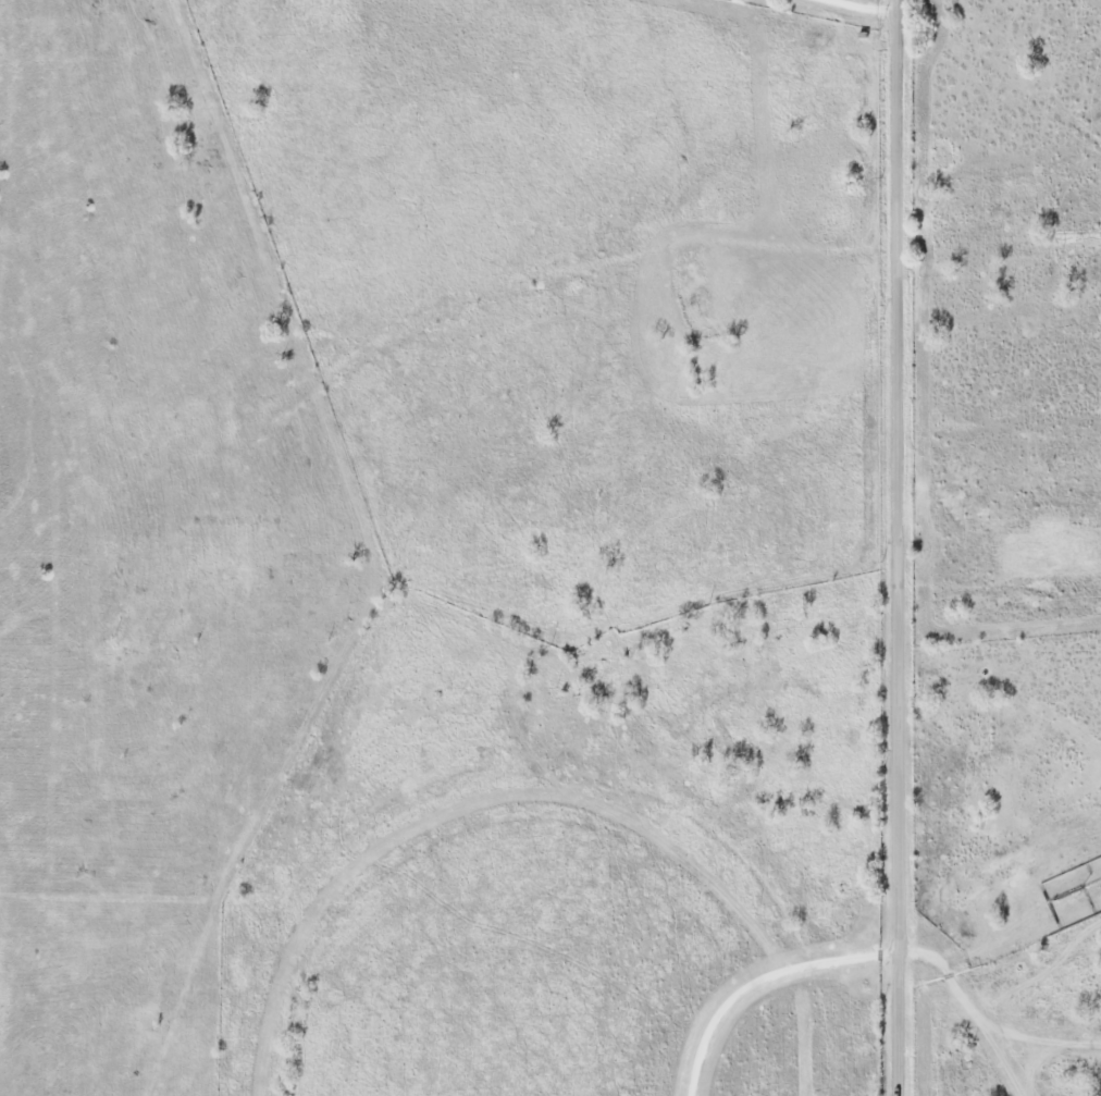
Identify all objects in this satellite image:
road: (868, 5)
building: (1038, 497)
road: (899, 547)
road: (763, 980)
road: (968, 1010)

